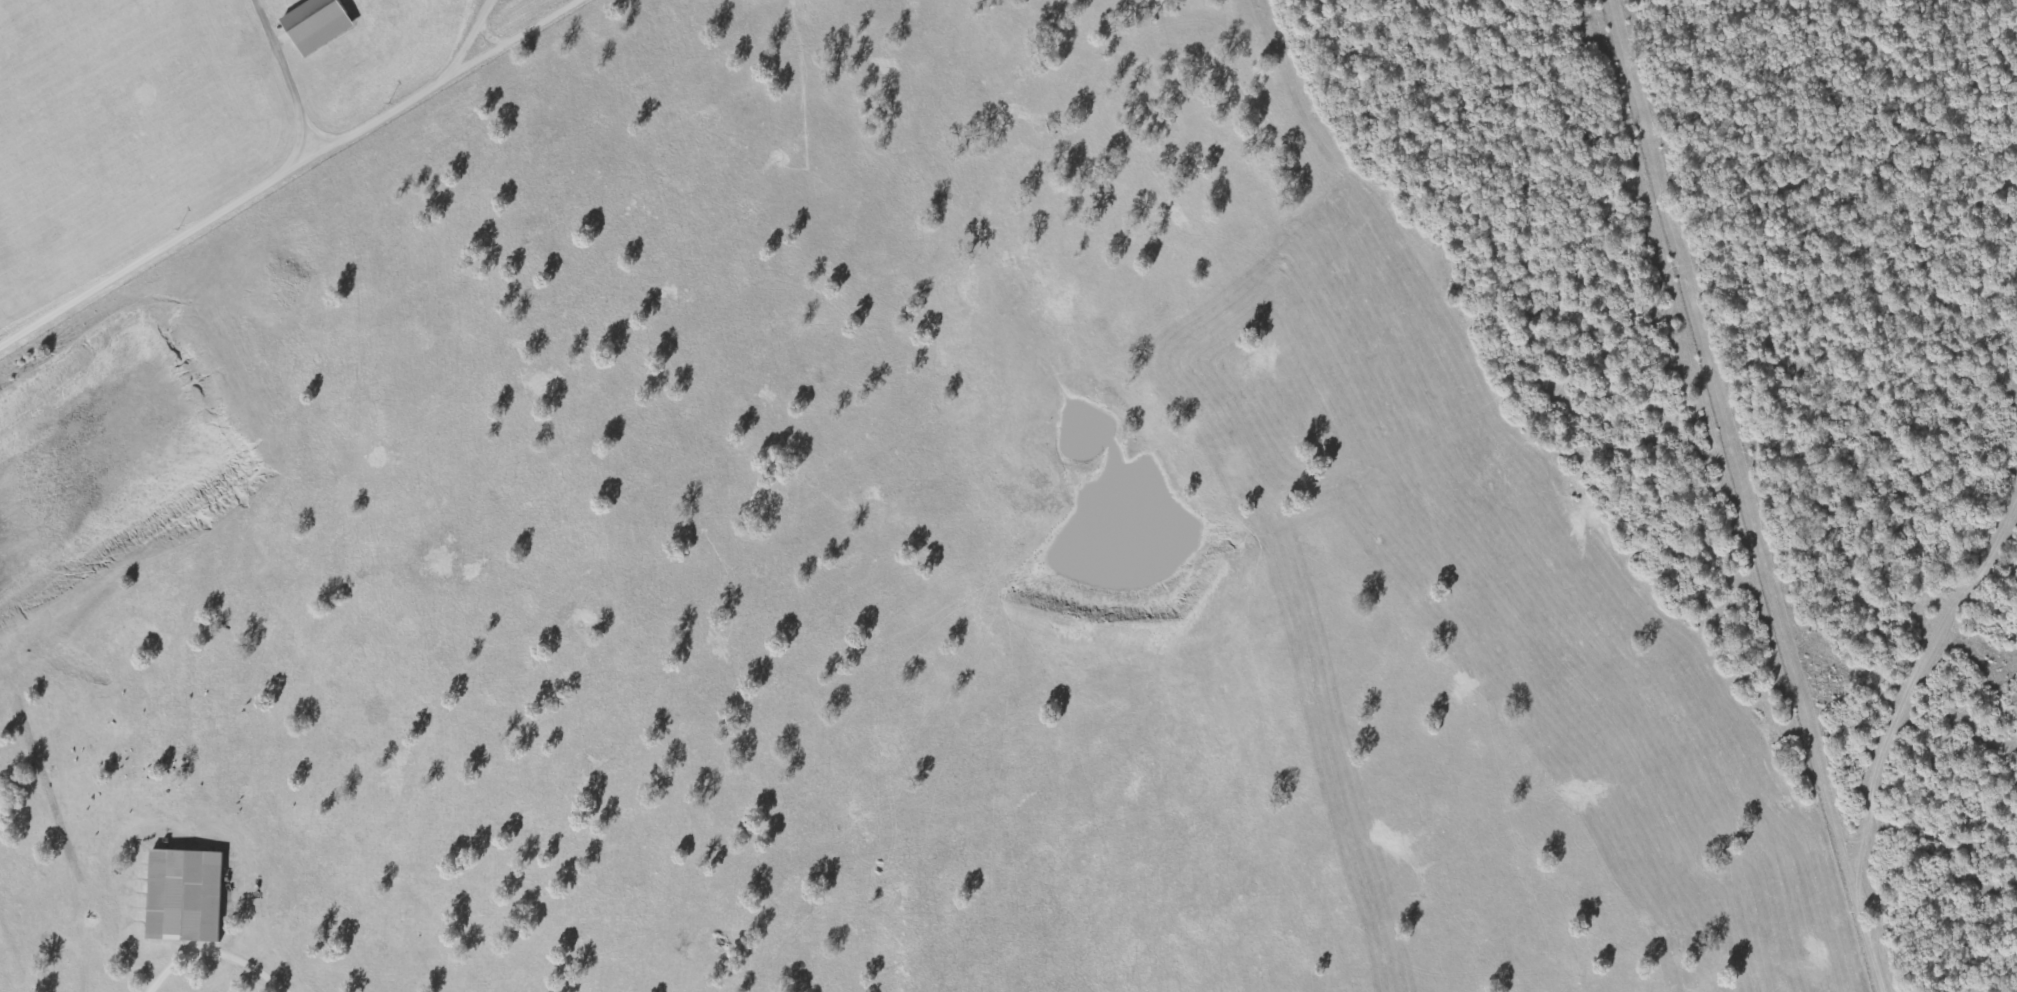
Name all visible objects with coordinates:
building: (322, 24)
road: (216, 210)
building: (190, 897)

